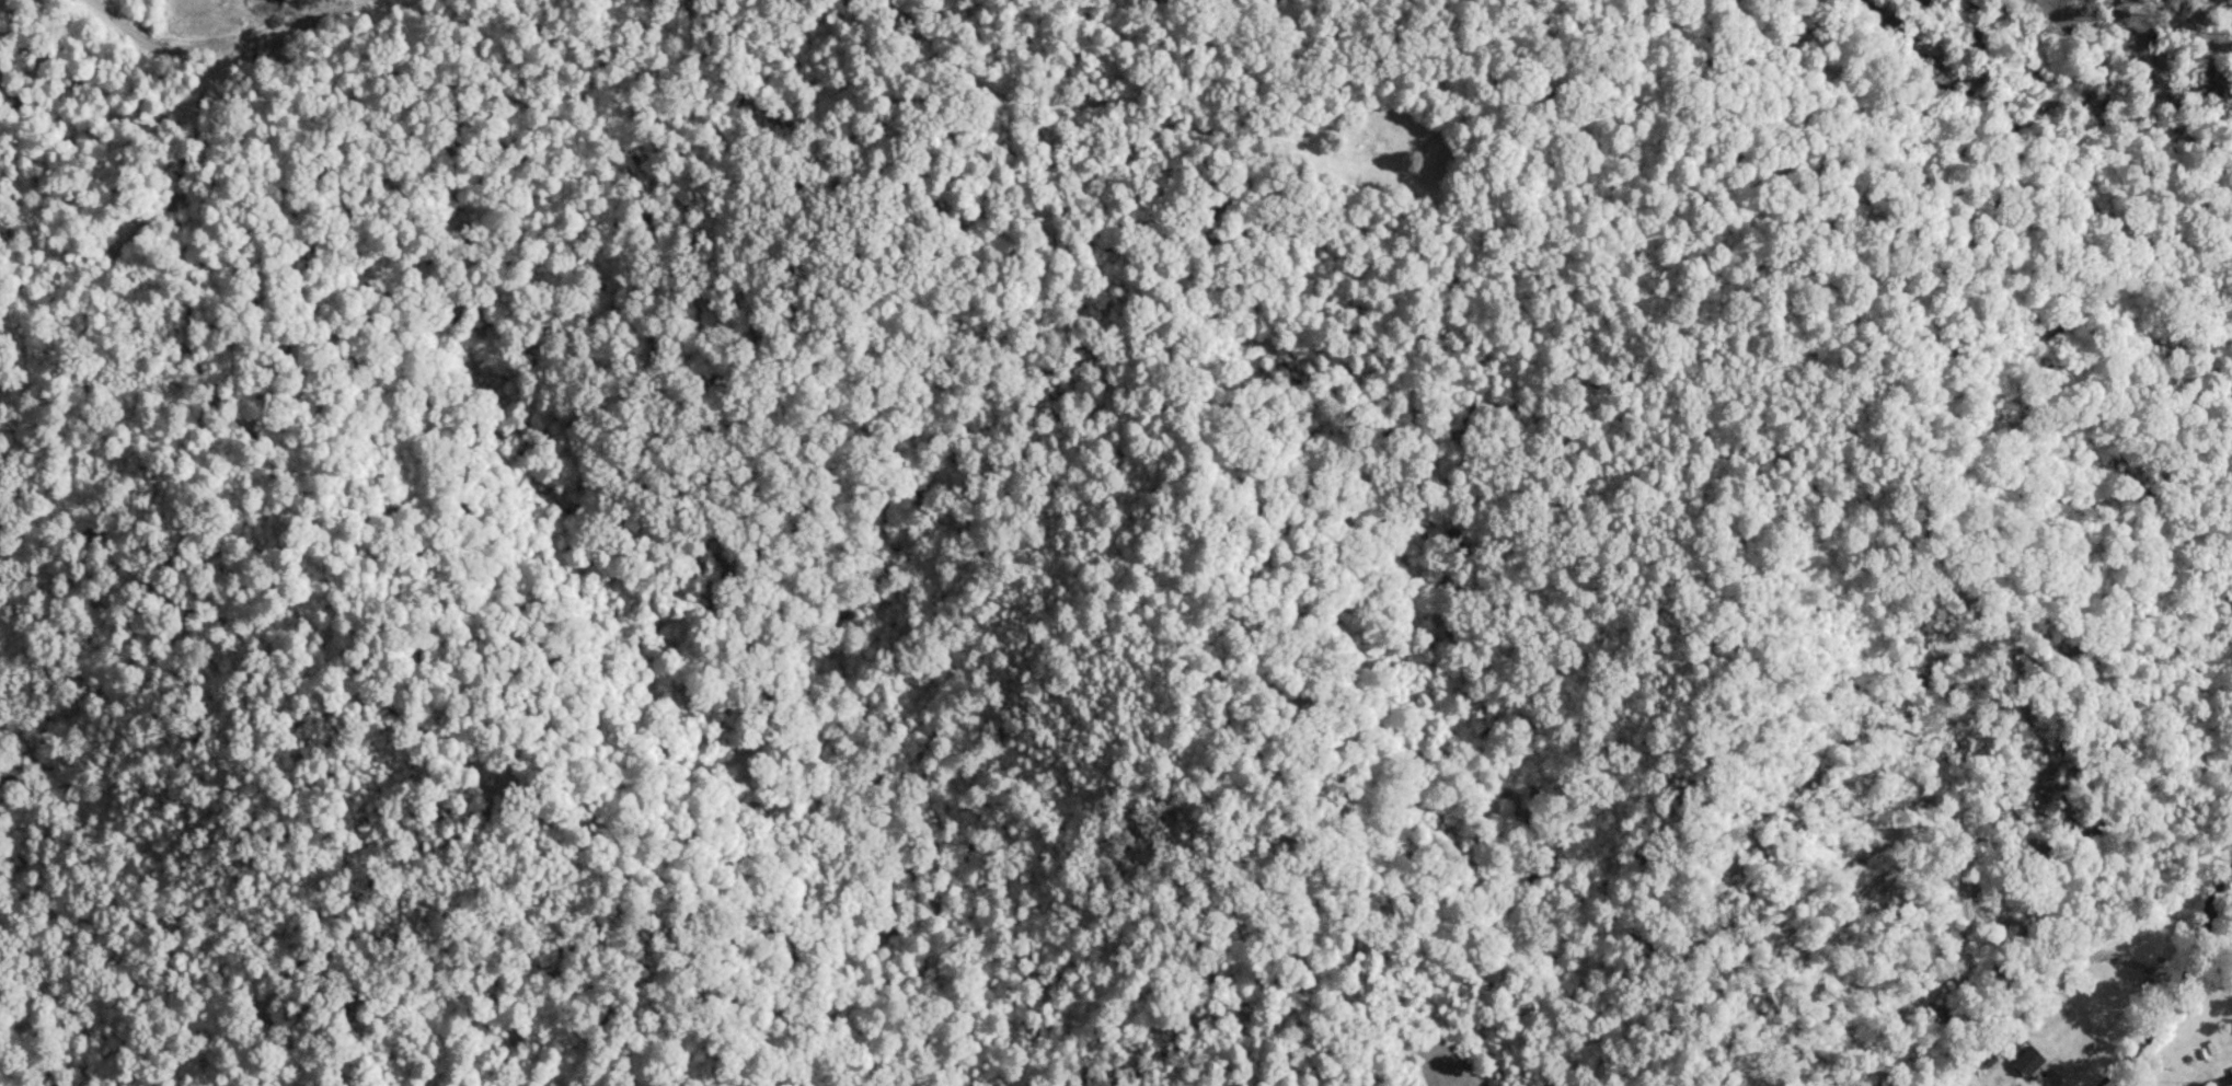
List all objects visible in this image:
building: (2027, 1060)
building: (2225, 1079)

